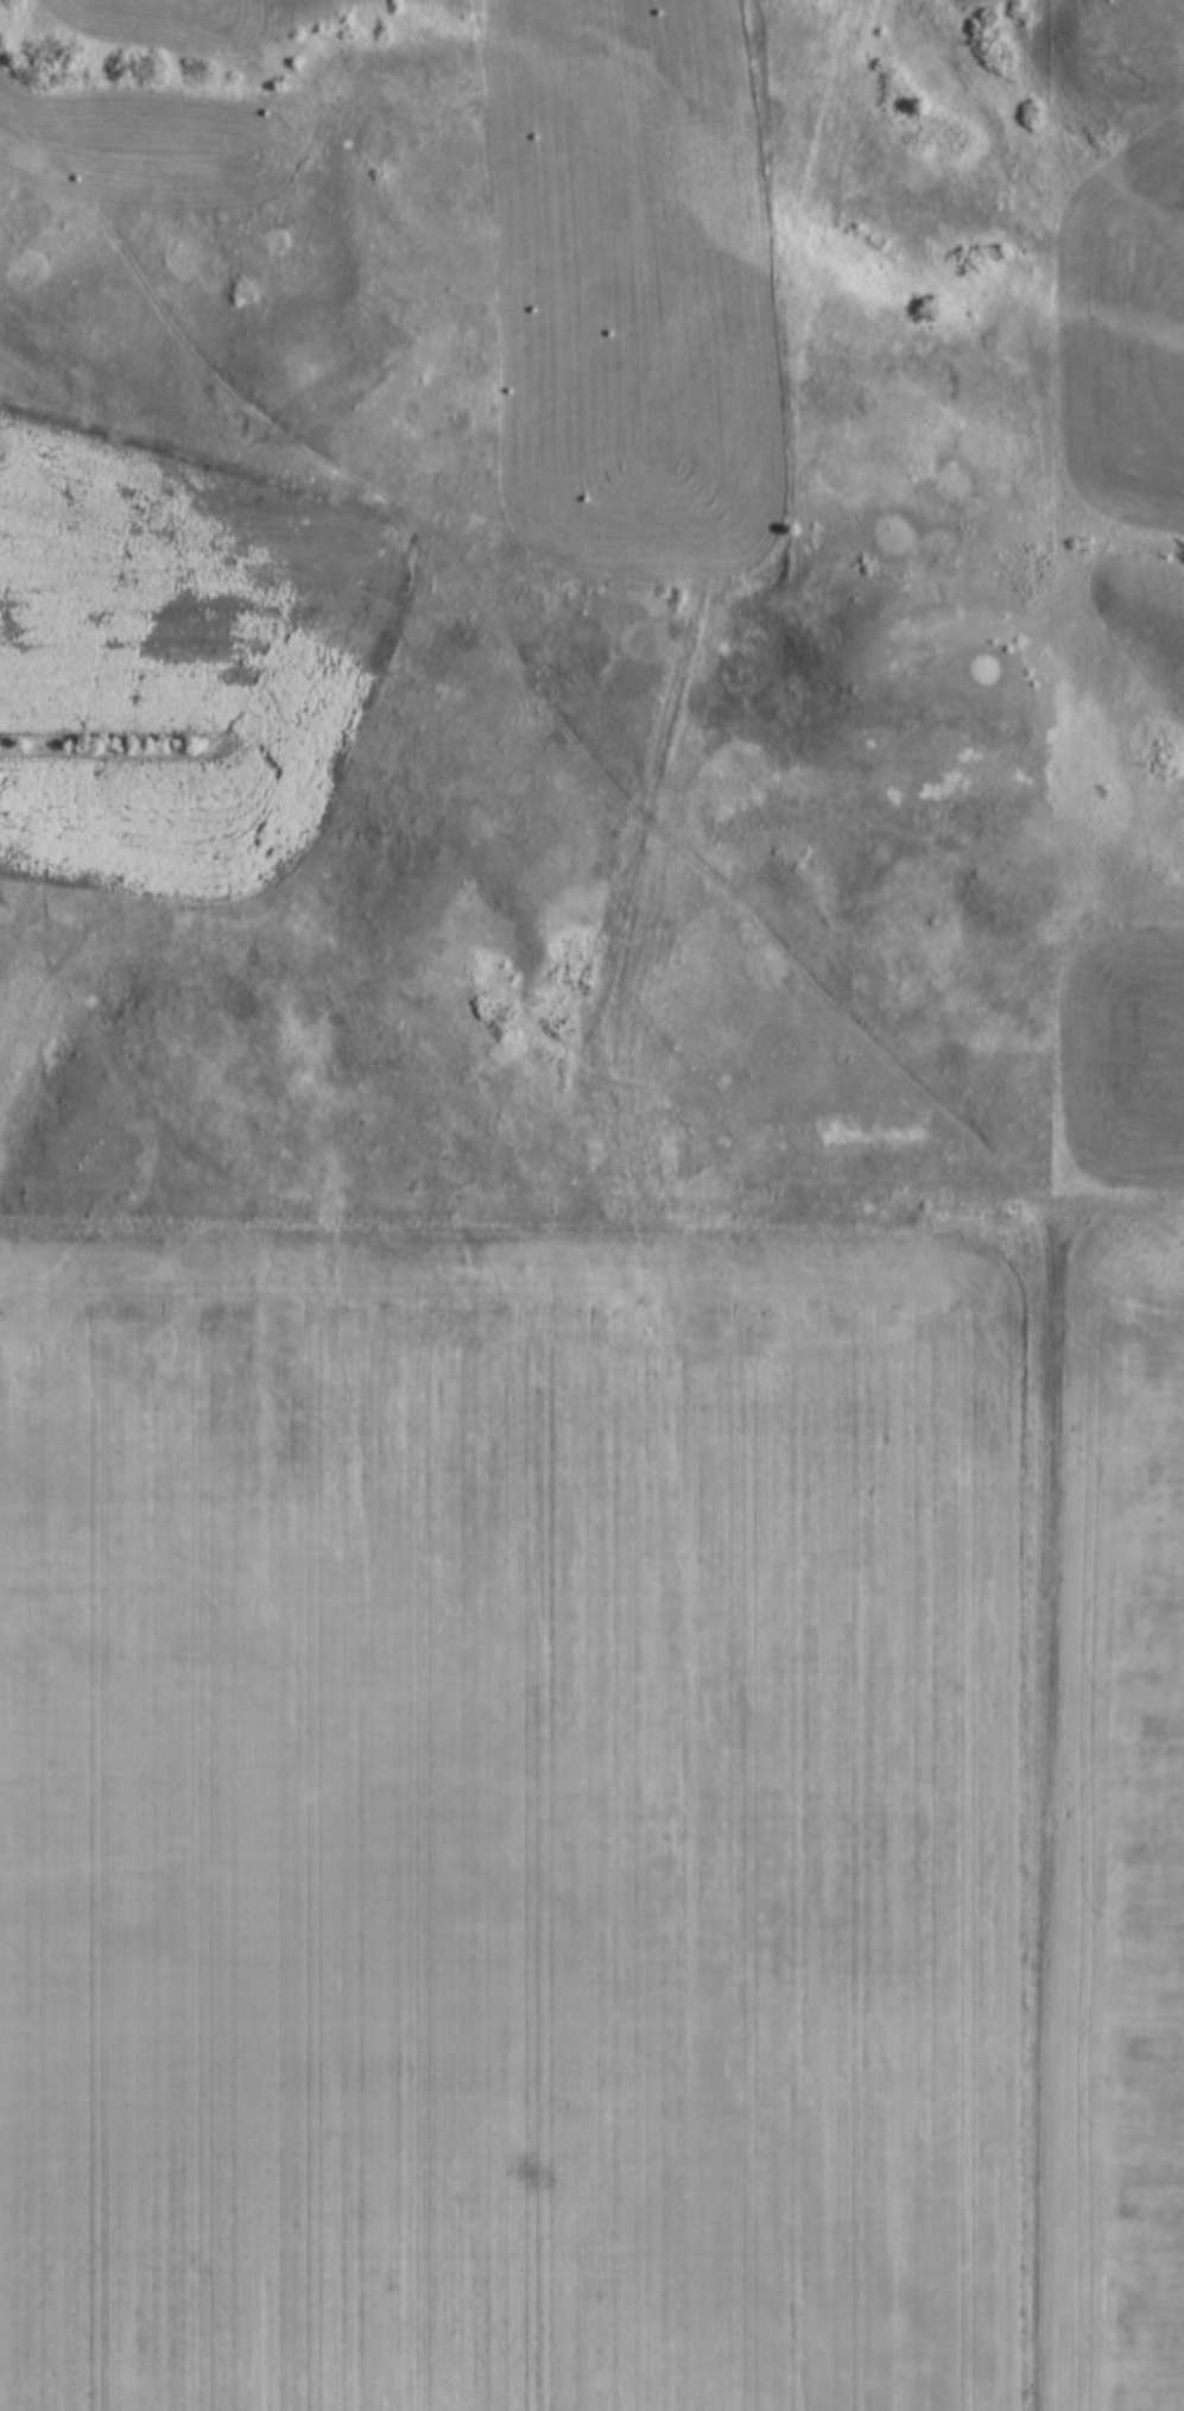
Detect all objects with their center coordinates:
road: (1034, 2369)

